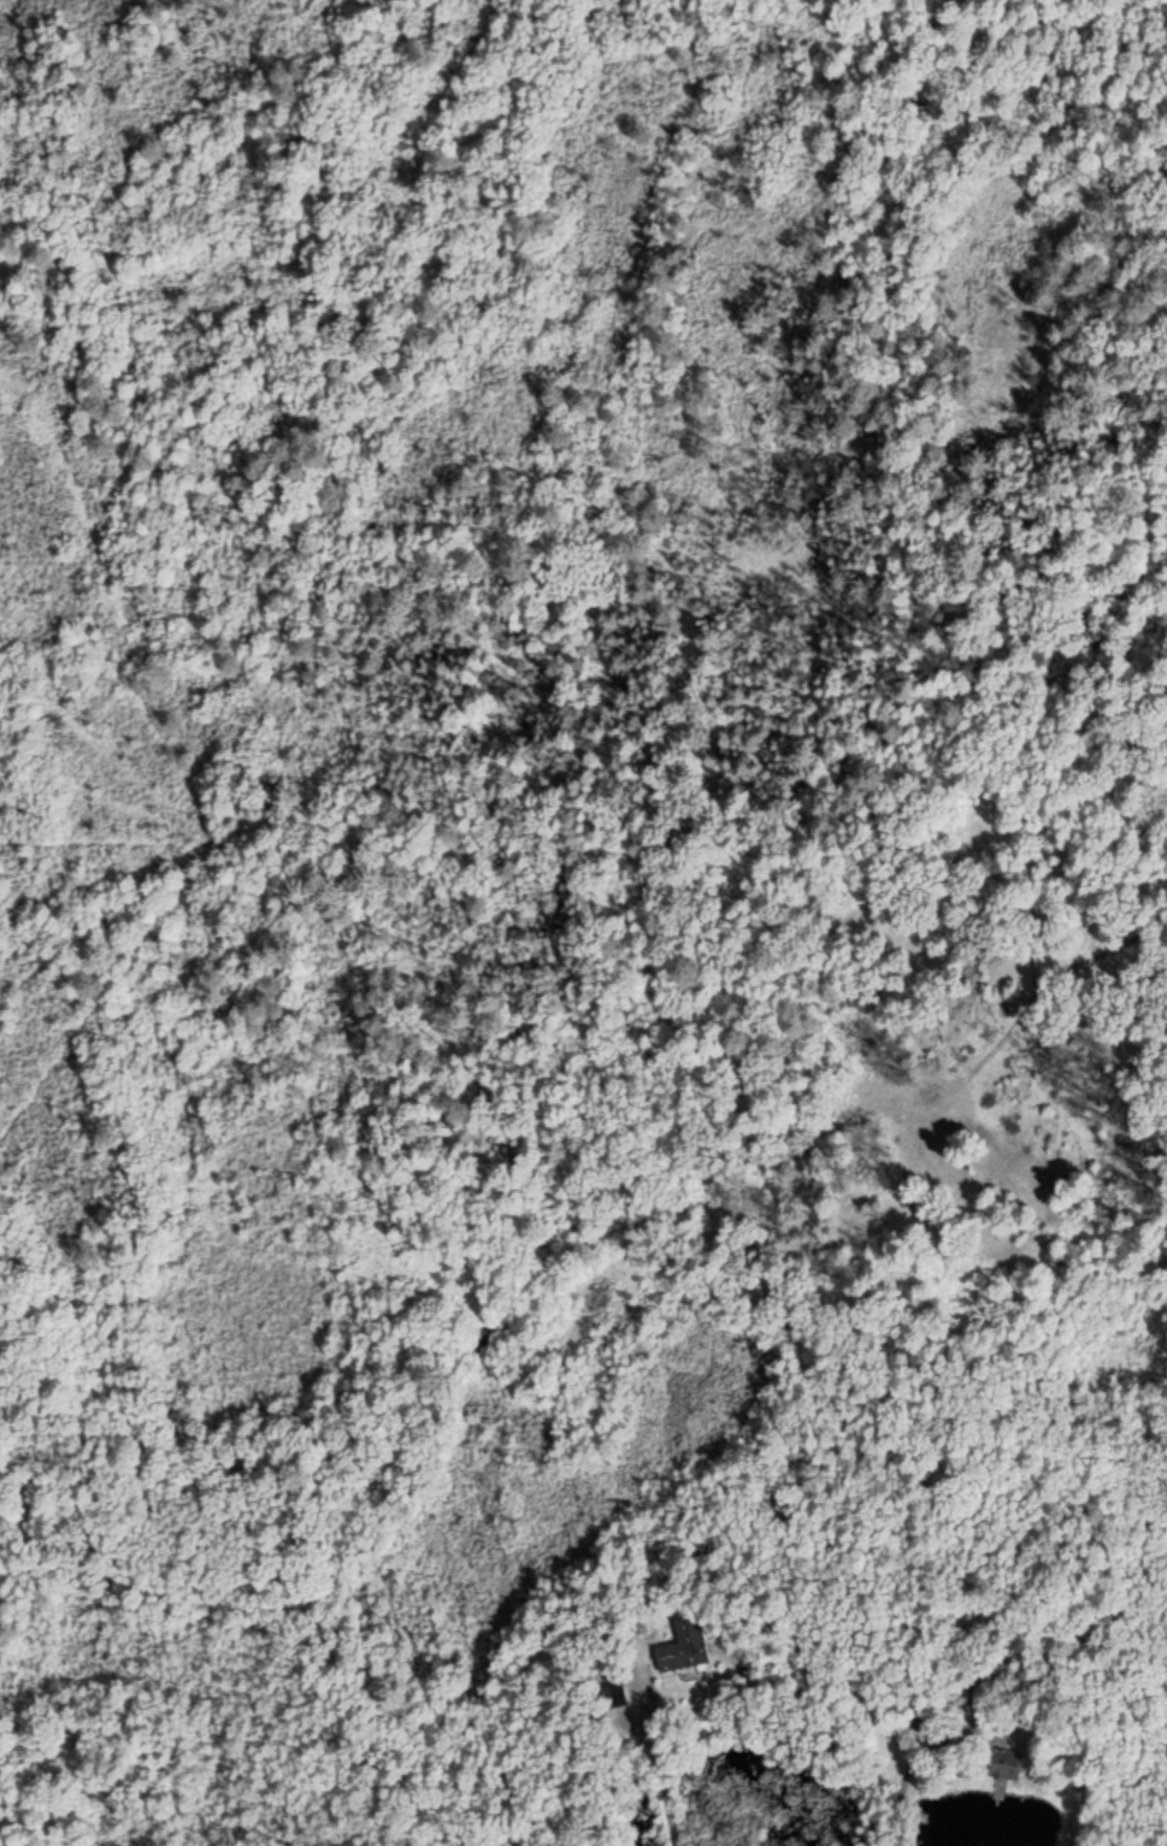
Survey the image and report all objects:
building: (685, 1645)
building: (1014, 1764)
road: (658, 1782)
road: (892, 1801)

